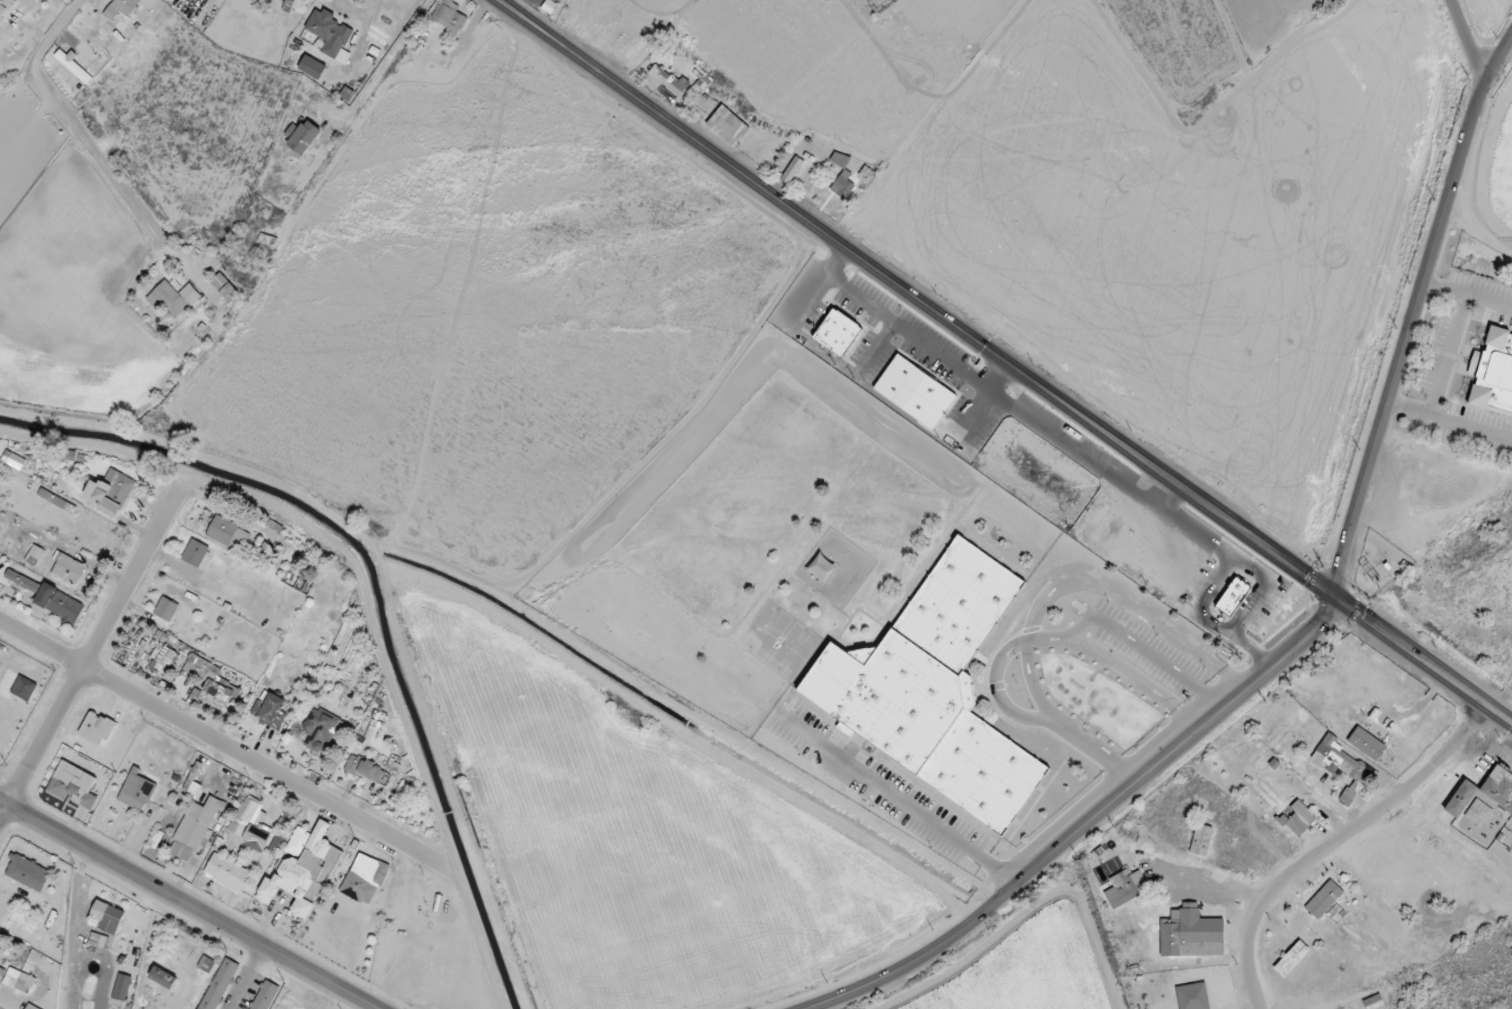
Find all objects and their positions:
building: (5, 6)
building: (121, 8)
road: (357, 11)
building: (449, 17)
building: (330, 34)
road: (1467, 40)
building: (73, 66)
building: (312, 67)
road: (383, 67)
building: (667, 79)
road: (73, 119)
building: (727, 125)
building: (302, 135)
building: (839, 159)
building: (792, 169)
building: (843, 185)
building: (224, 287)
building: (173, 299)
road: (918, 299)
road: (1414, 314)
building: (840, 333)
building: (916, 392)
building: (15, 460)
building: (1038, 473)
building: (110, 492)
building: (228, 533)
building: (195, 553)
building: (265, 553)
building: (34, 555)
building: (68, 568)
building: (21, 580)
building: (1232, 594)
traffic signals: (1338, 597)
building: (60, 603)
building: (166, 609)
road: (91, 652)
road: (1425, 659)
building: (164, 660)
building: (24, 688)
building: (936, 690)
building: (218, 691)
building: (270, 709)
building: (320, 732)
road: (216, 740)
building: (1366, 743)
building: (1341, 766)
building: (365, 769)
building: (73, 784)
building: (137, 791)
building: (1484, 793)
building: (1478, 813)
building: (1299, 818)
building: (249, 824)
road: (1092, 824)
building: (194, 828)
building: (1201, 840)
road: (1335, 841)
building: (303, 870)
building: (28, 872)
building: (227, 873)
building: (364, 879)
building: (1126, 887)
building: (1324, 899)
road: (190, 903)
building: (108, 916)
building: (1191, 933)
building: (98, 940)
building: (1291, 958)
road: (1043, 959)
building: (206, 964)
building: (2, 971)
building: (163, 977)
building: (19, 980)
building: (219, 984)
building: (122, 987)
building: (263, 995)
building: (1192, 996)
building: (292, 1002)
building: (31, 1007)

